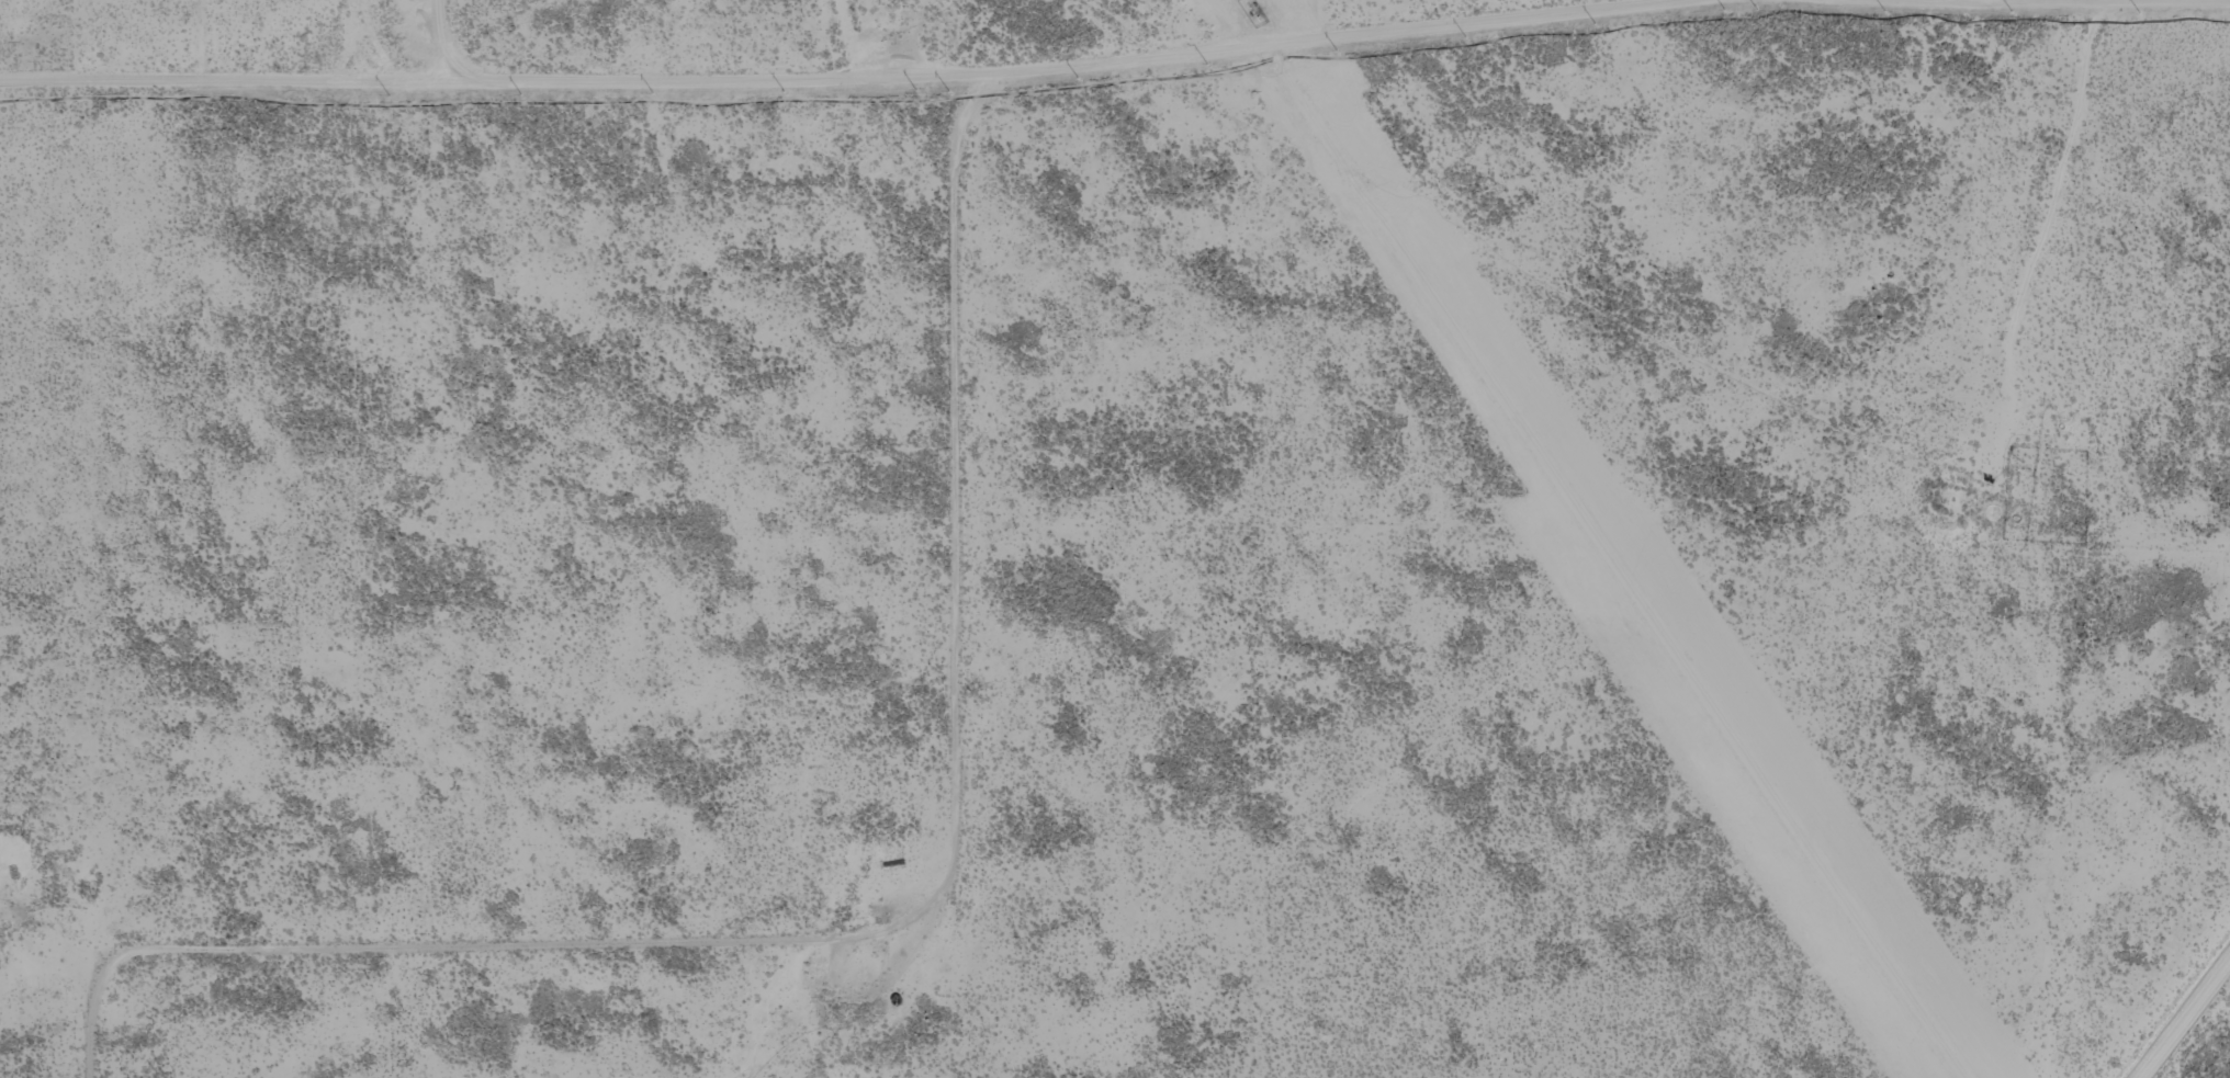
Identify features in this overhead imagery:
road: (2064, 0)
road: (849, 78)
road: (2045, 234)
road: (893, 927)
road: (2177, 1011)

